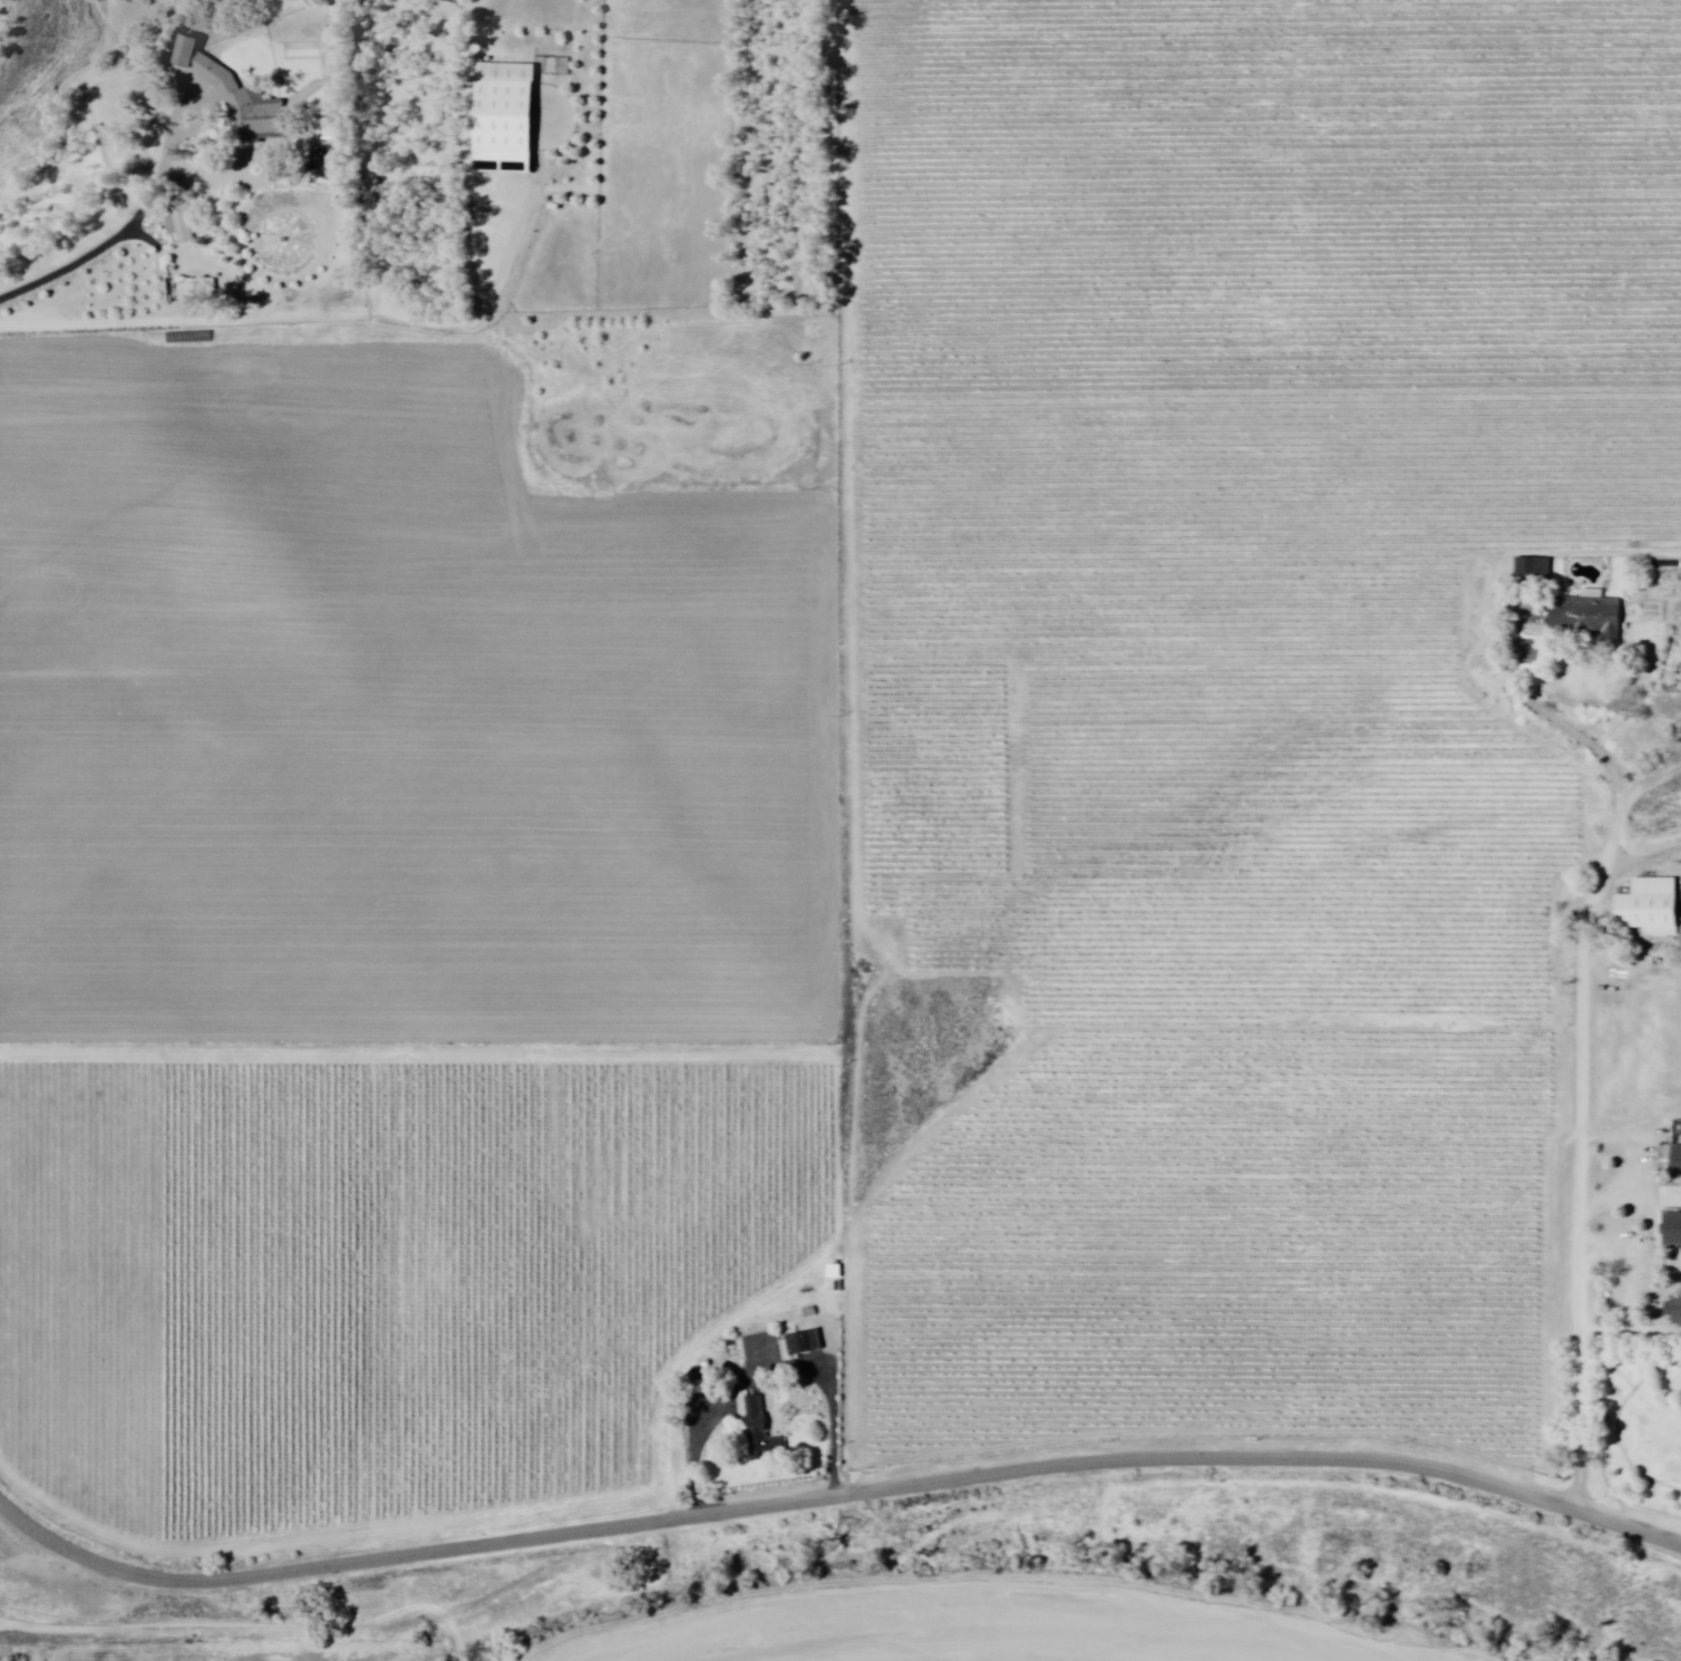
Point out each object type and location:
building: (247, 107)
building: (507, 122)
building: (391, 197)
building: (185, 223)
road: (128, 229)
road: (159, 246)
building: (196, 293)
building: (1534, 566)
building: (1591, 615)
building: (1650, 906)
road: (1583, 1029)
building: (1678, 1159)
building: (1675, 1227)
building: (1675, 1309)
building: (812, 1311)
building: (803, 1341)
building: (760, 1431)
road: (835, 1493)
river: (1237, 1660)

